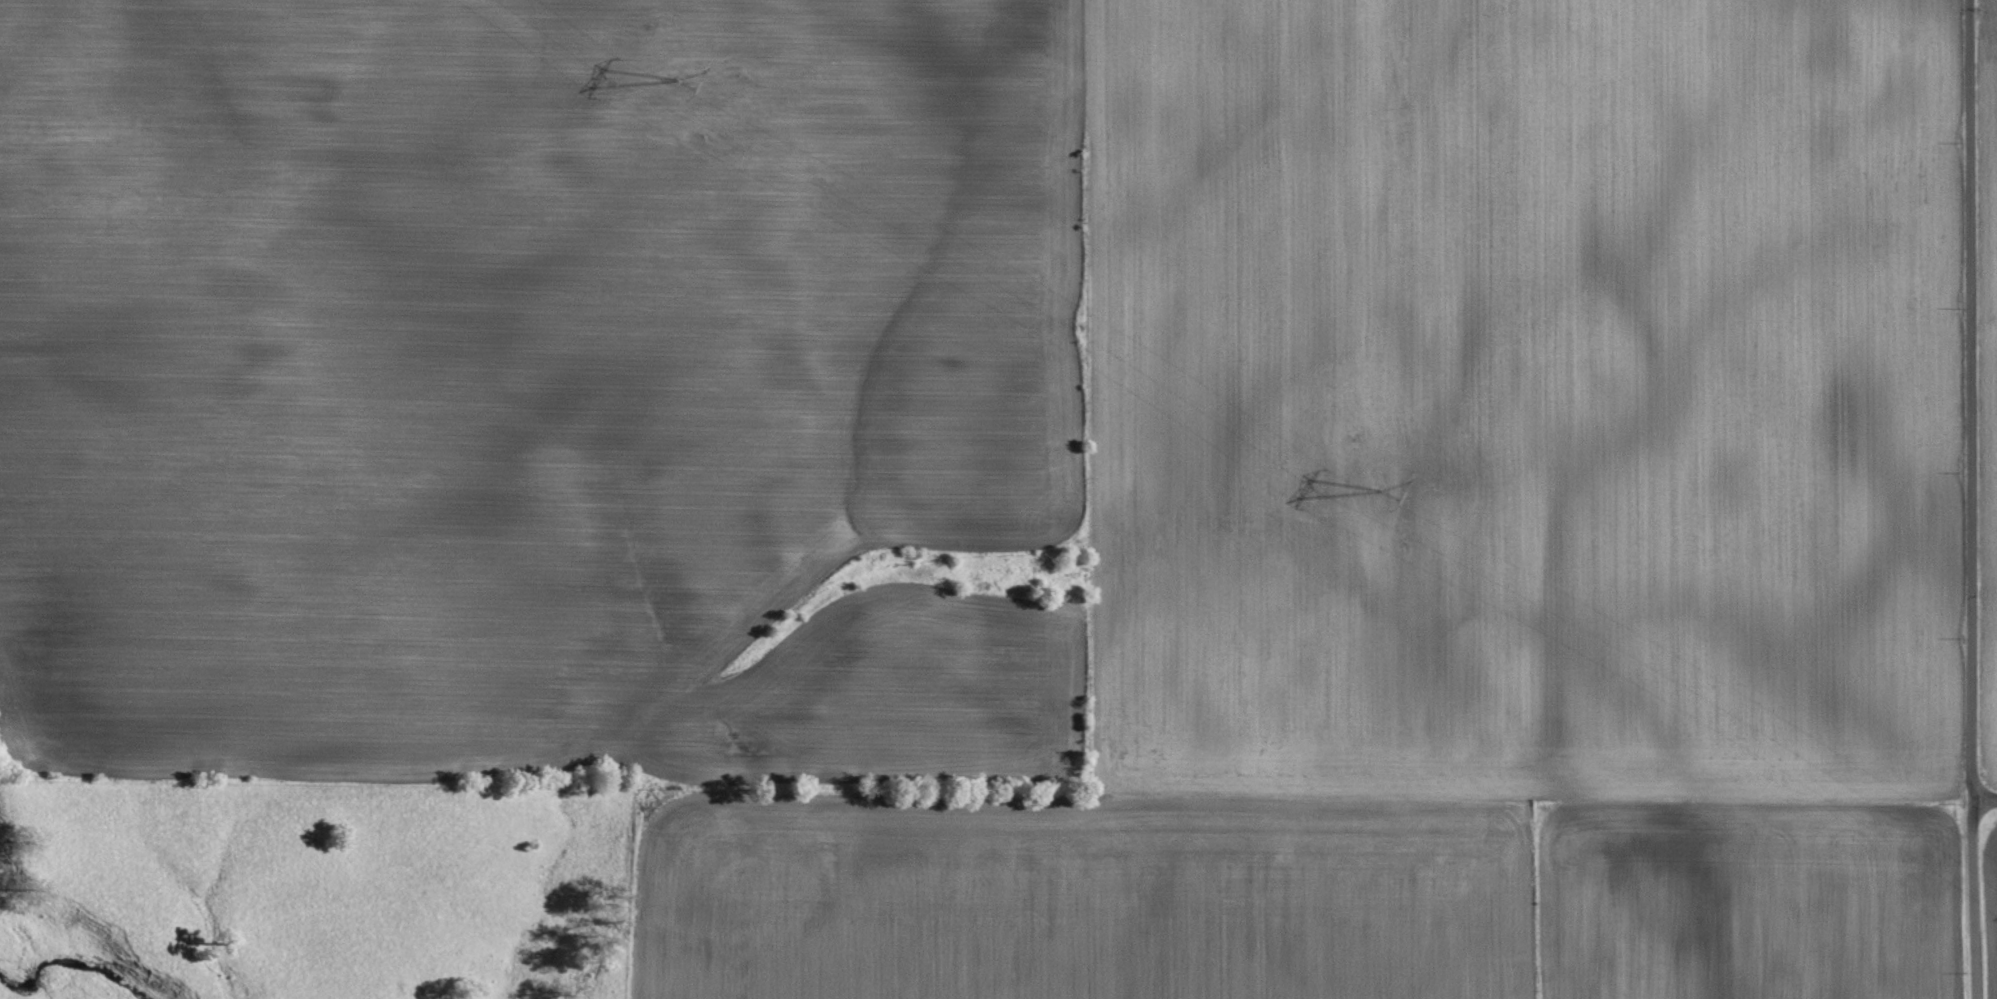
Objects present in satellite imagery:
power tower: (677, 75)
power tower: (1379, 484)
road: (1970, 499)
road: (1984, 802)

